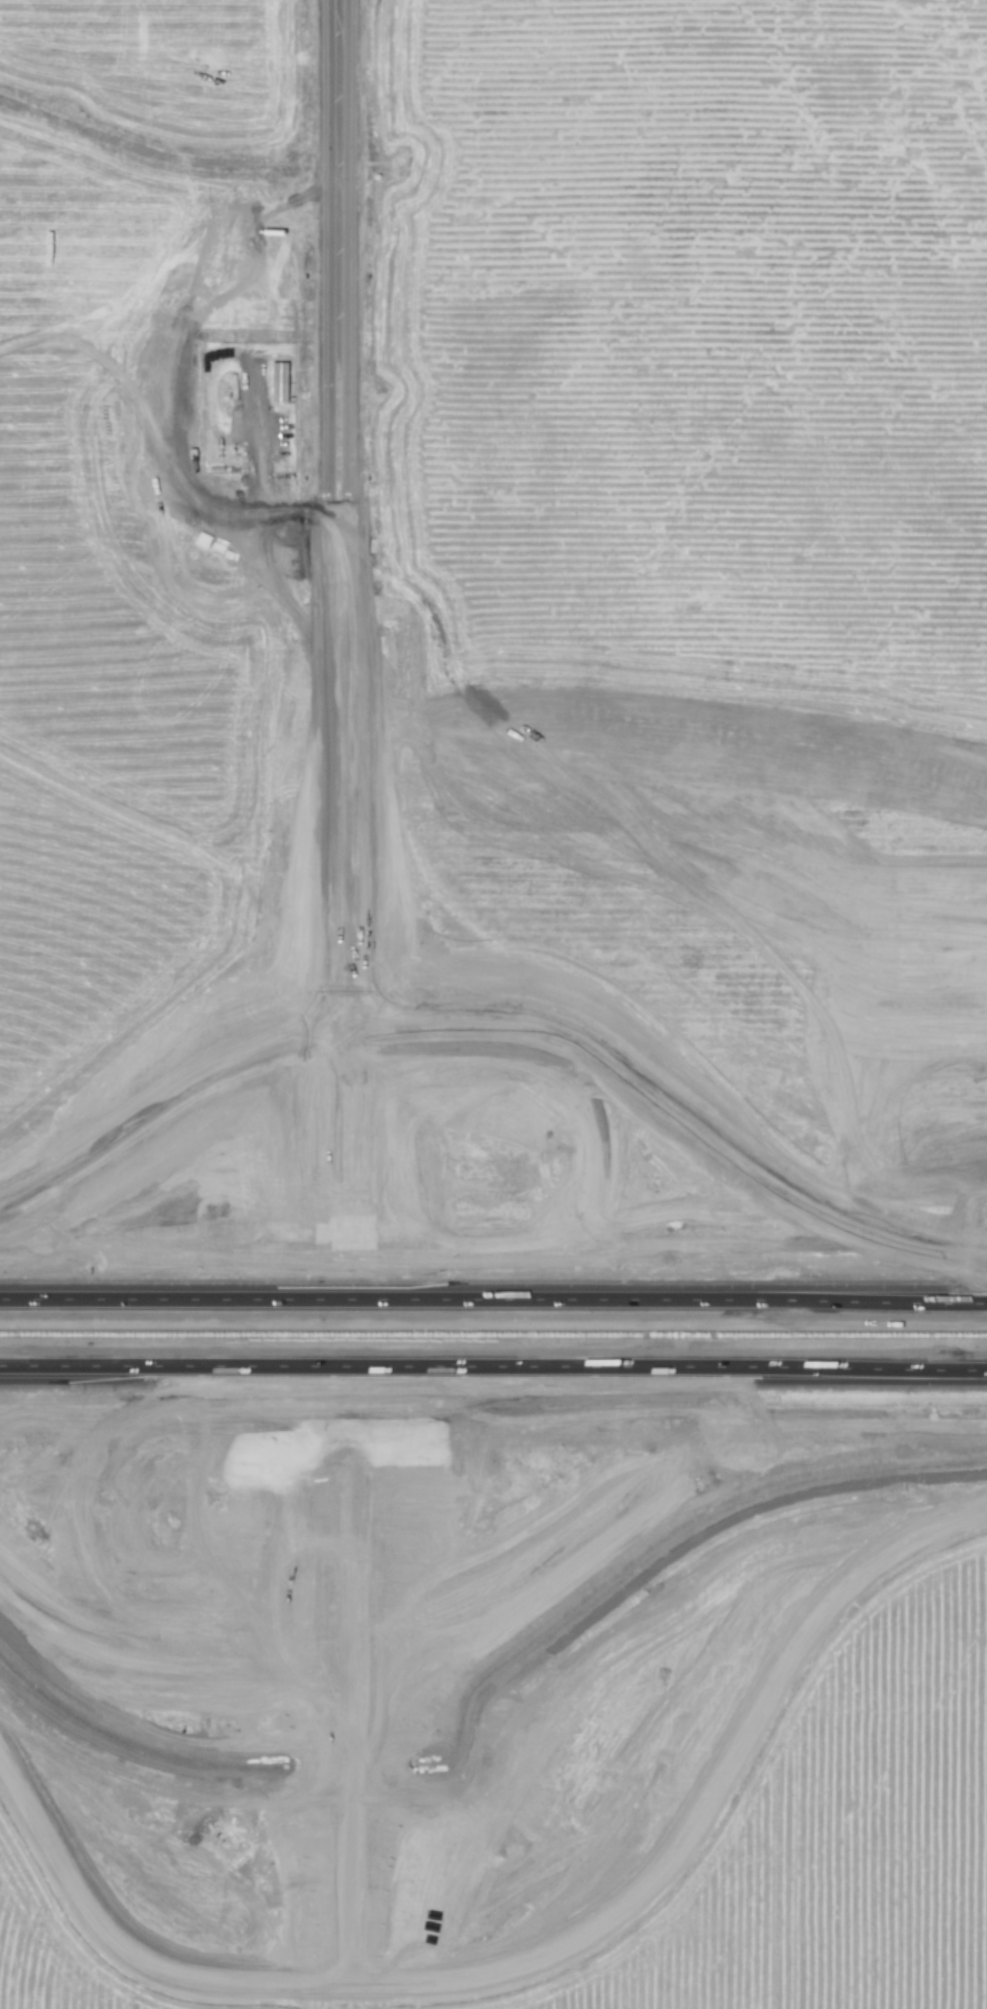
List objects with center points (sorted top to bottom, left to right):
road: (353, 514)
road: (329, 516)
road: (170, 1101)
road: (675, 1115)
road: (352, 1130)
road: (493, 1297)
road: (352, 1339)
road: (493, 1373)
road: (187, 1423)
road: (167, 1647)
road: (353, 1713)
road: (538, 1962)

